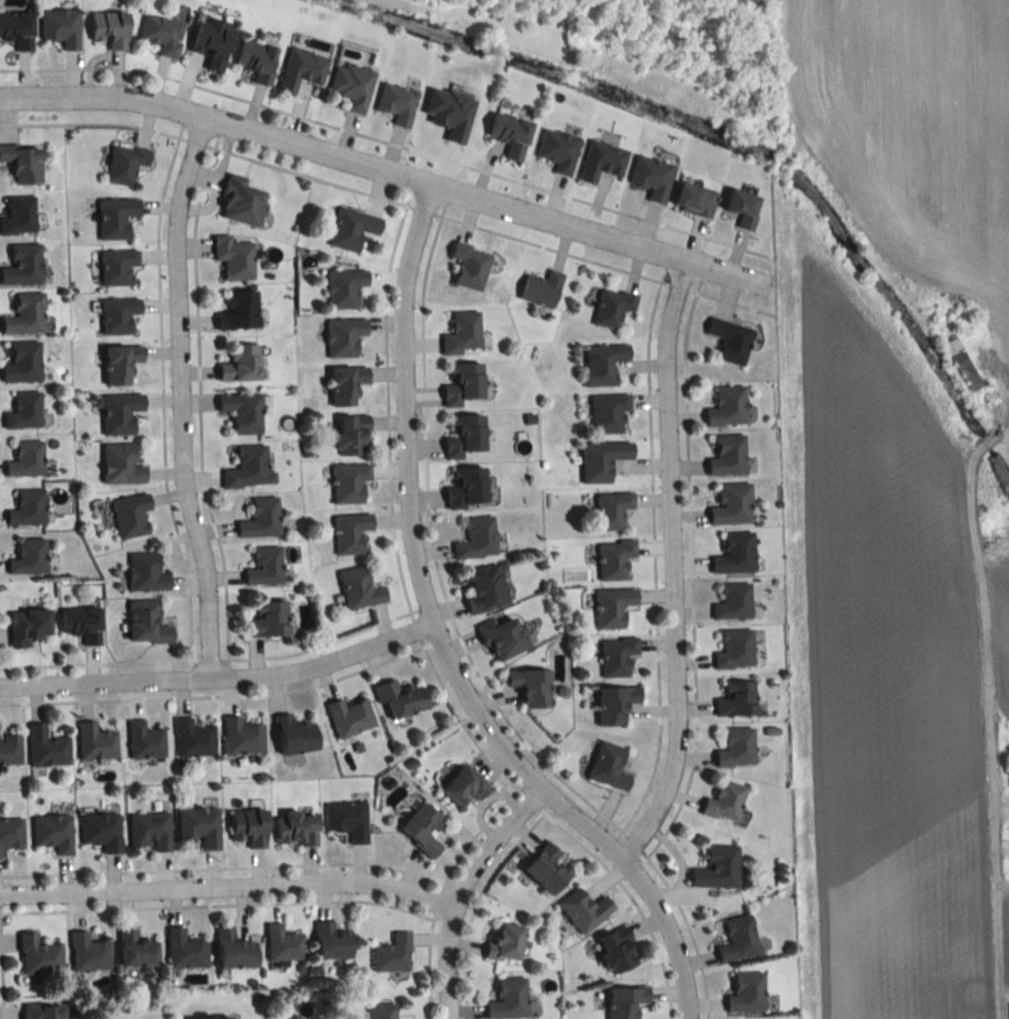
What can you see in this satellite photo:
building: (60, 28)
building: (110, 29)
building: (17, 30)
building: (162, 34)
building: (212, 42)
building: (257, 61)
building: (301, 69)
building: (351, 86)
building: (396, 103)
crop: (912, 132)
building: (510, 133)
building: (558, 149)
building: (602, 160)
building: (23, 161)
building: (125, 162)
road: (374, 171)
building: (651, 176)
building: (693, 199)
building: (240, 200)
building: (742, 206)
building: (18, 215)
building: (115, 217)
building: (351, 227)
building: (233, 257)
building: (22, 265)
building: (469, 265)
building: (117, 266)
building: (343, 287)
building: (541, 288)
building: (612, 307)
building: (238, 311)
building: (25, 314)
building: (118, 314)
building: (462, 332)
building: (343, 336)
building: (730, 340)
building: (22, 362)
building: (119, 363)
building: (240, 363)
building: (603, 363)
building: (962, 364)
building: (463, 383)
building: (346, 384)
road: (175, 399)
building: (728, 406)
building: (24, 411)
building: (241, 411)
building: (119, 412)
building: (609, 413)
building: (352, 434)
building: (464, 435)
building: (728, 455)
building: (26, 459)
building: (602, 459)
building: (120, 463)
building: (249, 468)
building: (349, 482)
building: (467, 486)
building: (732, 504)
building: (27, 507)
building: (612, 509)
building: (130, 514)
building: (260, 518)
building: (350, 531)
building: (476, 538)
building: (735, 553)
building: (29, 556)
building: (614, 559)
building: (264, 566)
road: (669, 568)
building: (145, 572)
building: (485, 587)
building: (359, 588)
building: (733, 602)
building: (613, 606)
building: (267, 619)
building: (146, 622)
building: (81, 623)
building: (28, 625)
building: (504, 636)
road: (433, 642)
building: (735, 649)
building: (617, 656)
road: (217, 679)
building: (529, 686)
crop: (898, 689)
building: (400, 698)
building: (737, 699)
building: (615, 704)
building: (348, 717)
building: (294, 735)
building: (241, 736)
building: (193, 739)
building: (144, 741)
building: (96, 742)
building: (47, 747)
building: (736, 748)
building: (10, 749)
building: (608, 766)
building: (464, 786)
building: (724, 802)
building: (347, 819)
building: (199, 826)
building: (248, 826)
building: (295, 828)
building: (422, 828)
building: (102, 831)
building: (149, 831)
building: (54, 832)
building: (11, 833)
building: (716, 867)
building: (547, 868)
road: (224, 892)
road: (456, 893)
building: (583, 909)
building: (737, 938)
building: (331, 941)
building: (282, 943)
building: (505, 943)
road: (994, 947)
building: (136, 949)
building: (233, 949)
building: (185, 950)
building: (616, 950)
building: (88, 952)
building: (391, 953)
building: (39, 955)
building: (746, 992)
building: (508, 999)
building: (624, 1001)
building: (380, 1010)
building: (1008, 1010)
building: (43, 1011)
building: (213, 1017)

